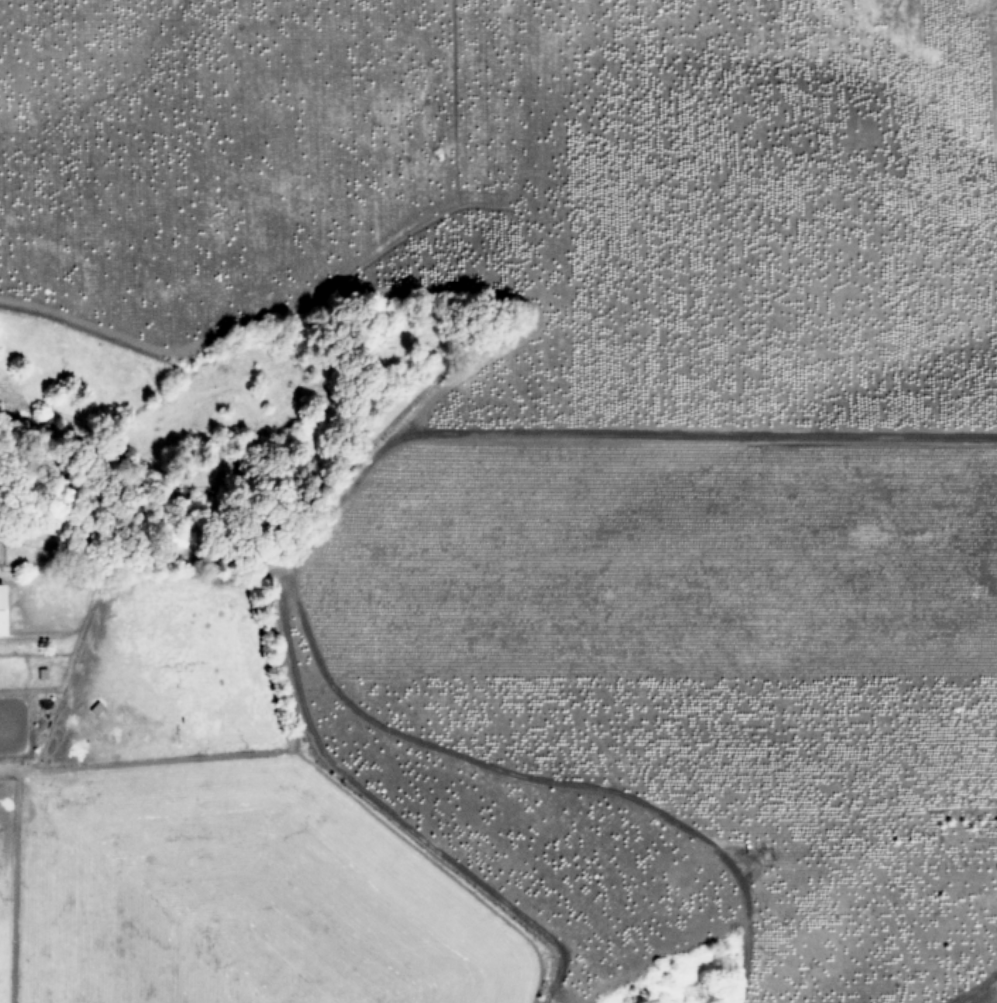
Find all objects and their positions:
road: (549, 437)
crop: (498, 501)
road: (977, 989)

